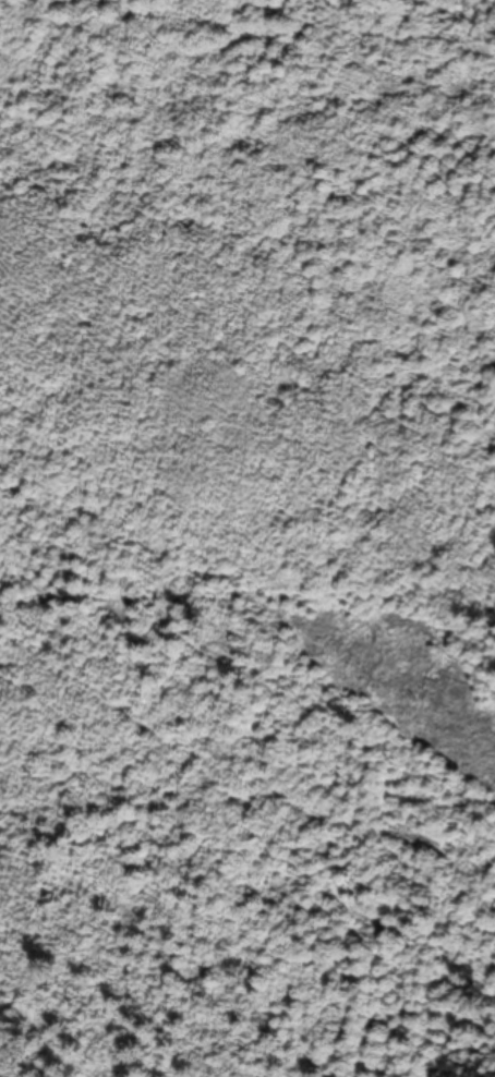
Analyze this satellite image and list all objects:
park: (247, 811)

